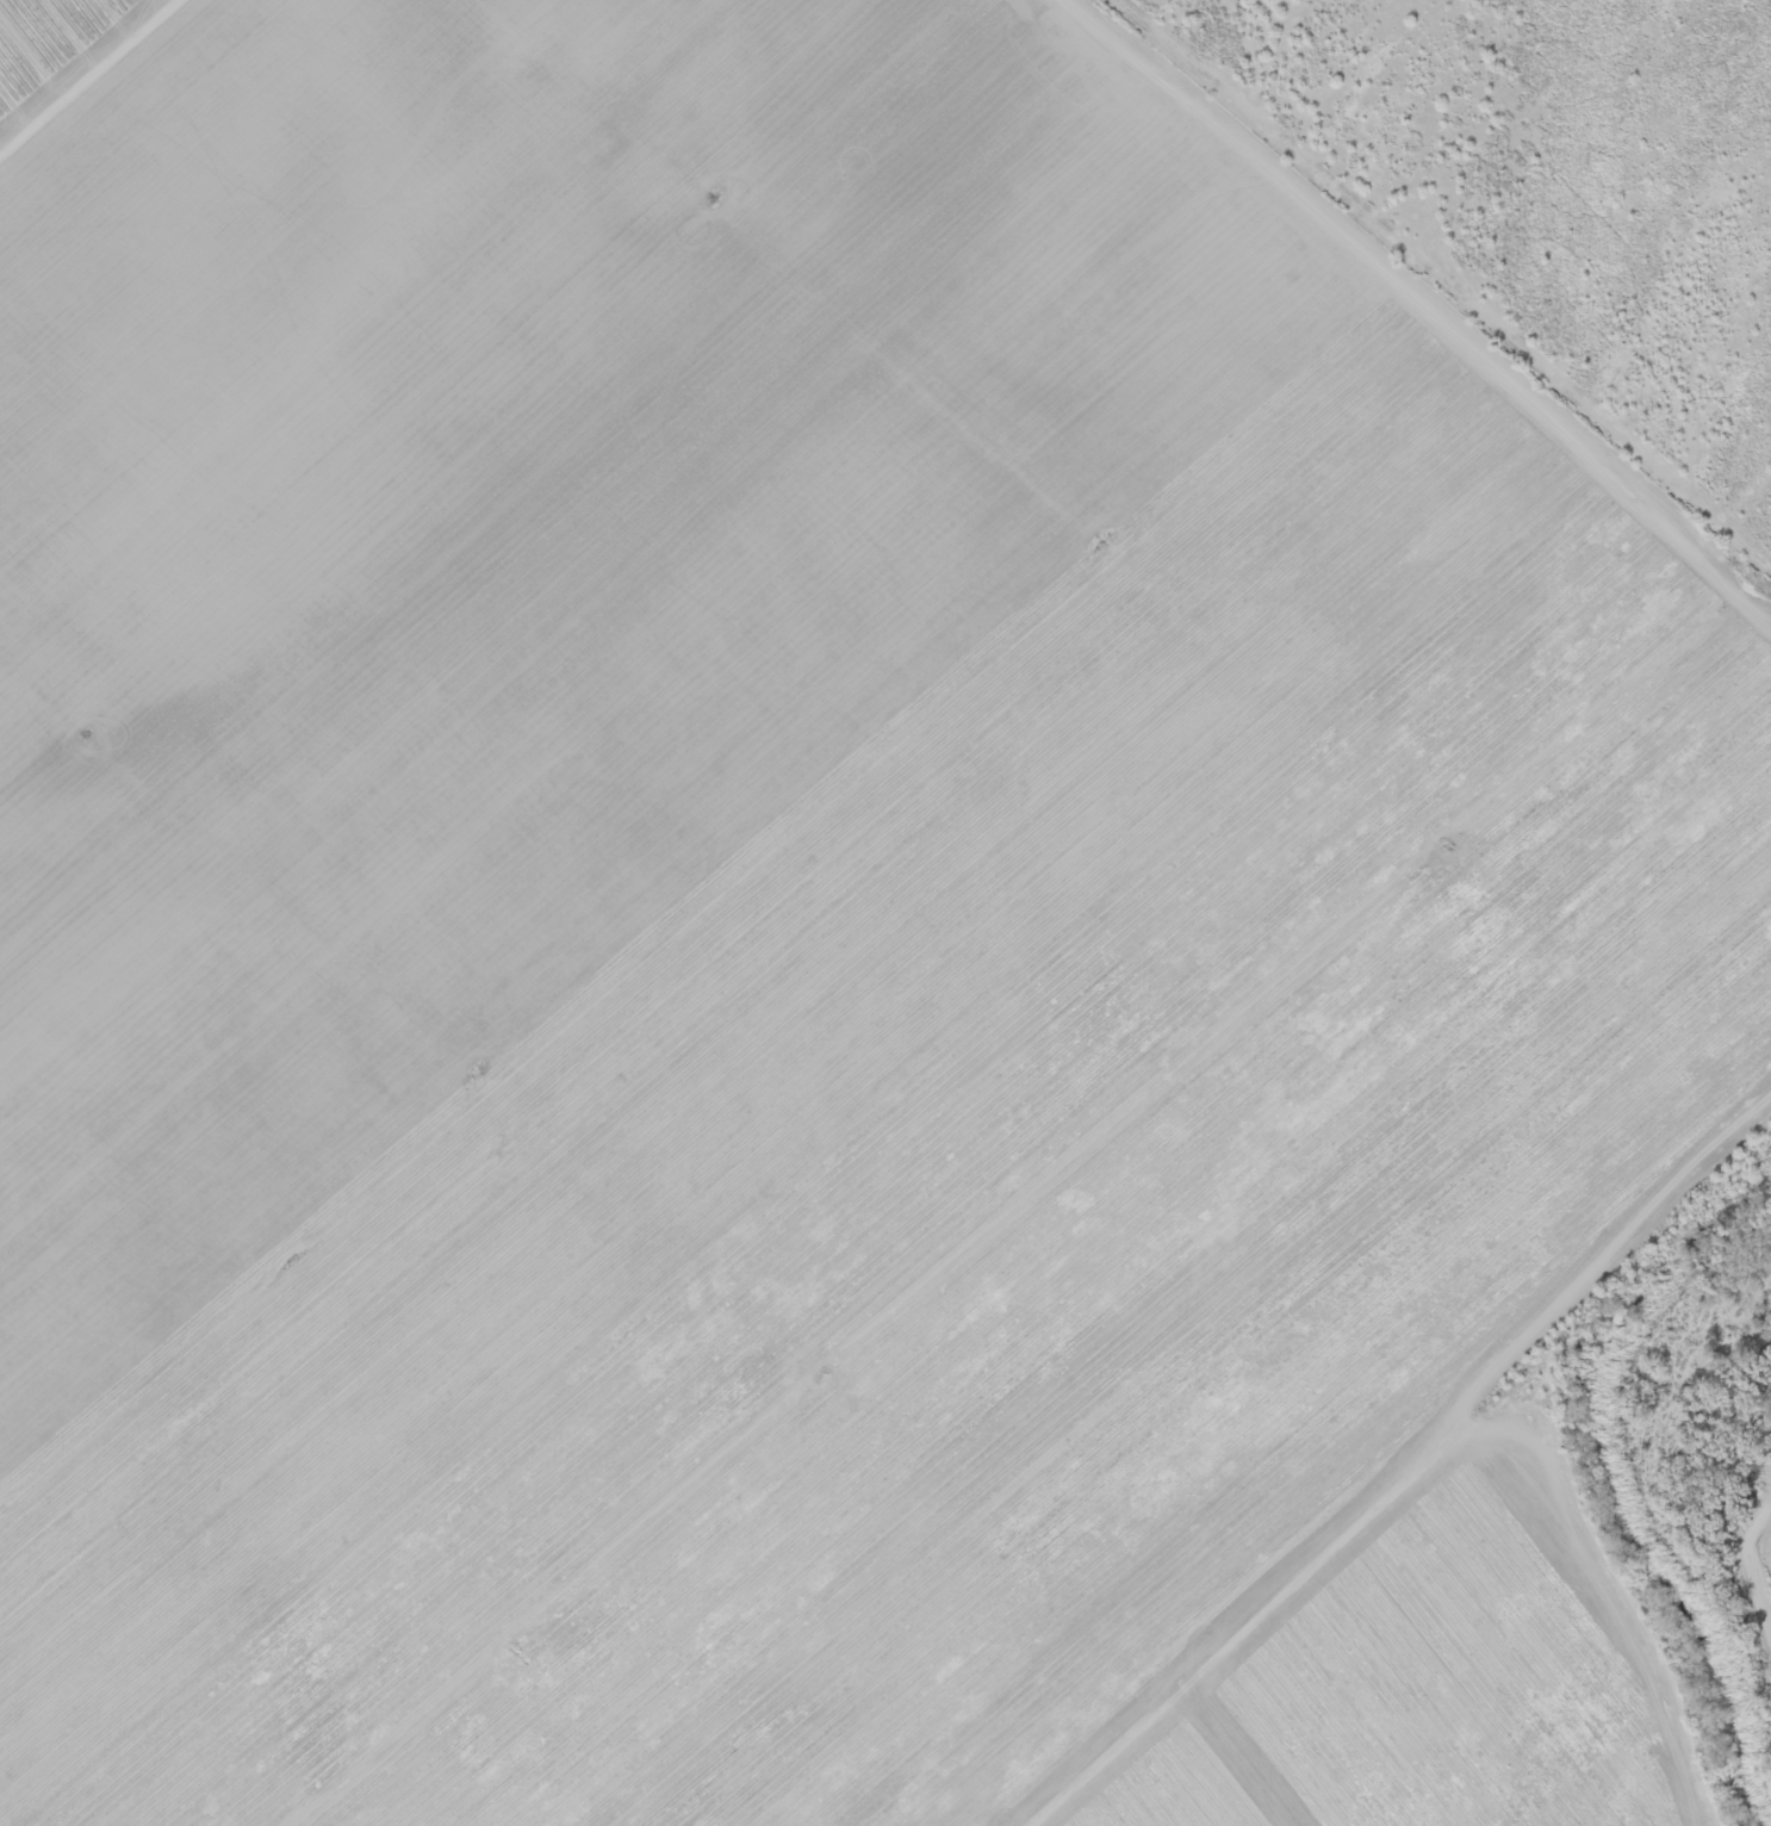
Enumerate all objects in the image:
road: (94, 82)
road: (1408, 1489)

